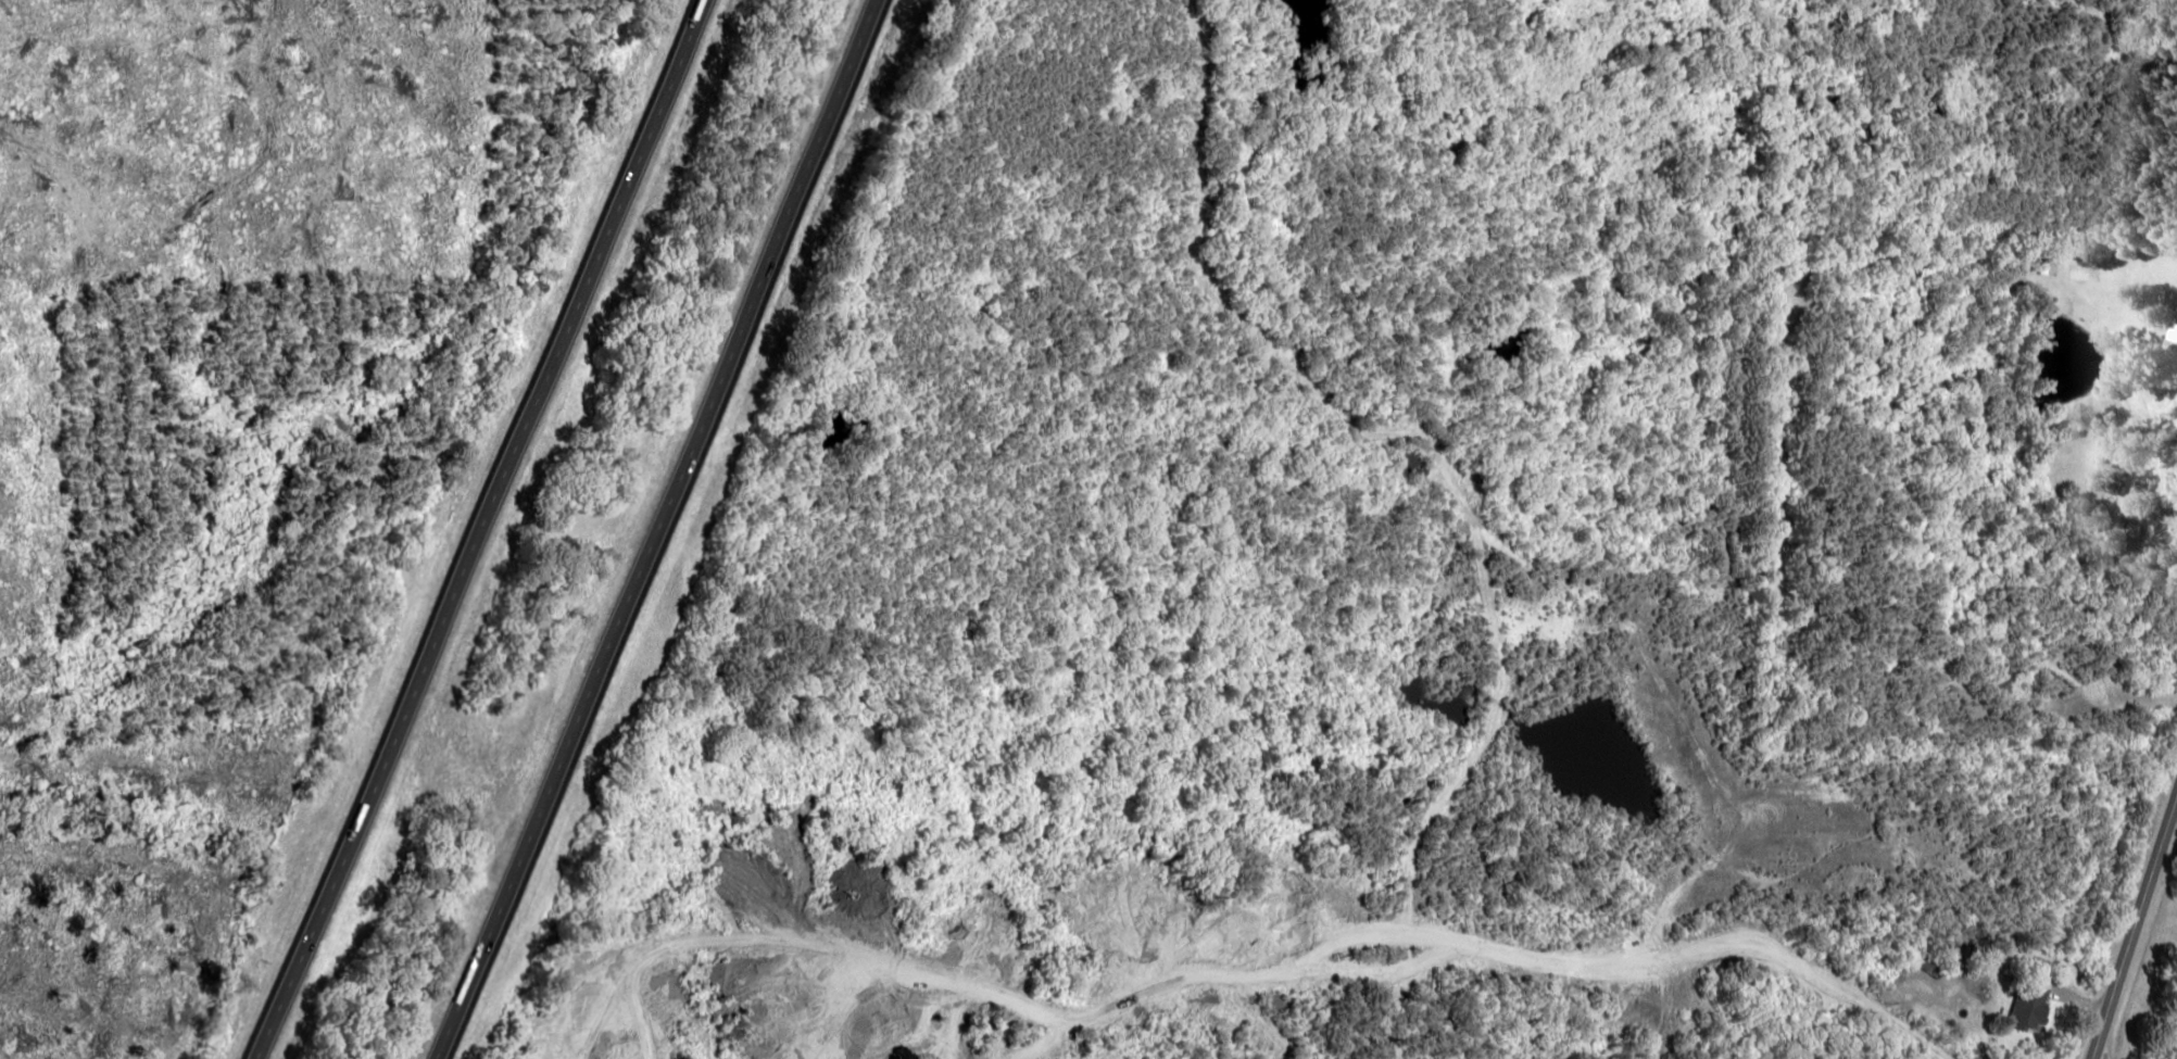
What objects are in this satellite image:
building: (2041, 264)
building: (2169, 345)
road: (476, 529)
road: (655, 529)
road: (2132, 928)
building: (2024, 1004)

